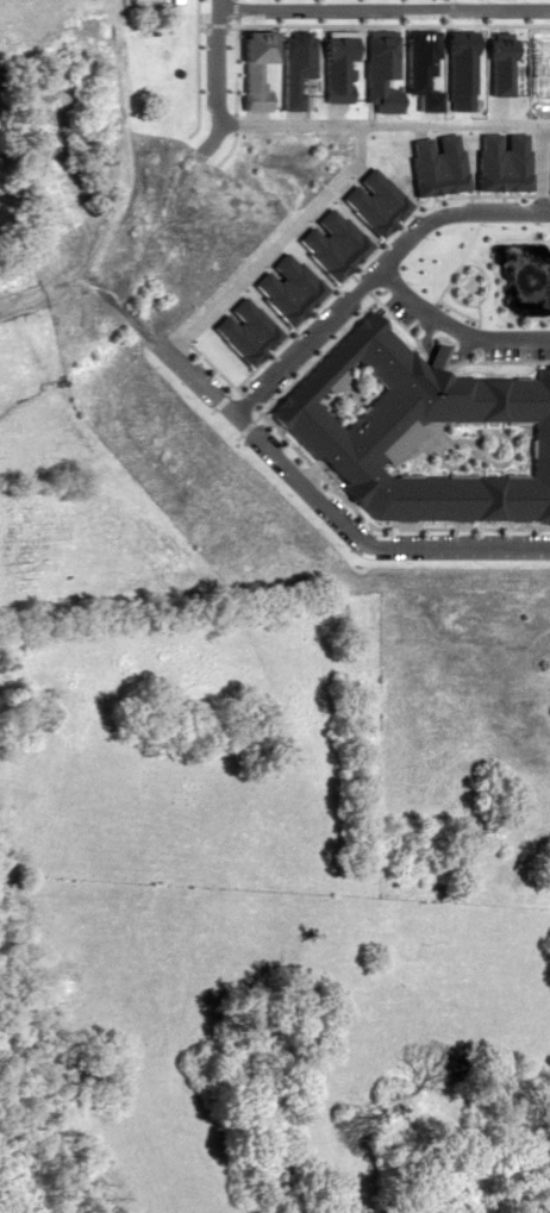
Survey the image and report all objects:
road: (295, 25)
building: (150, 50)

